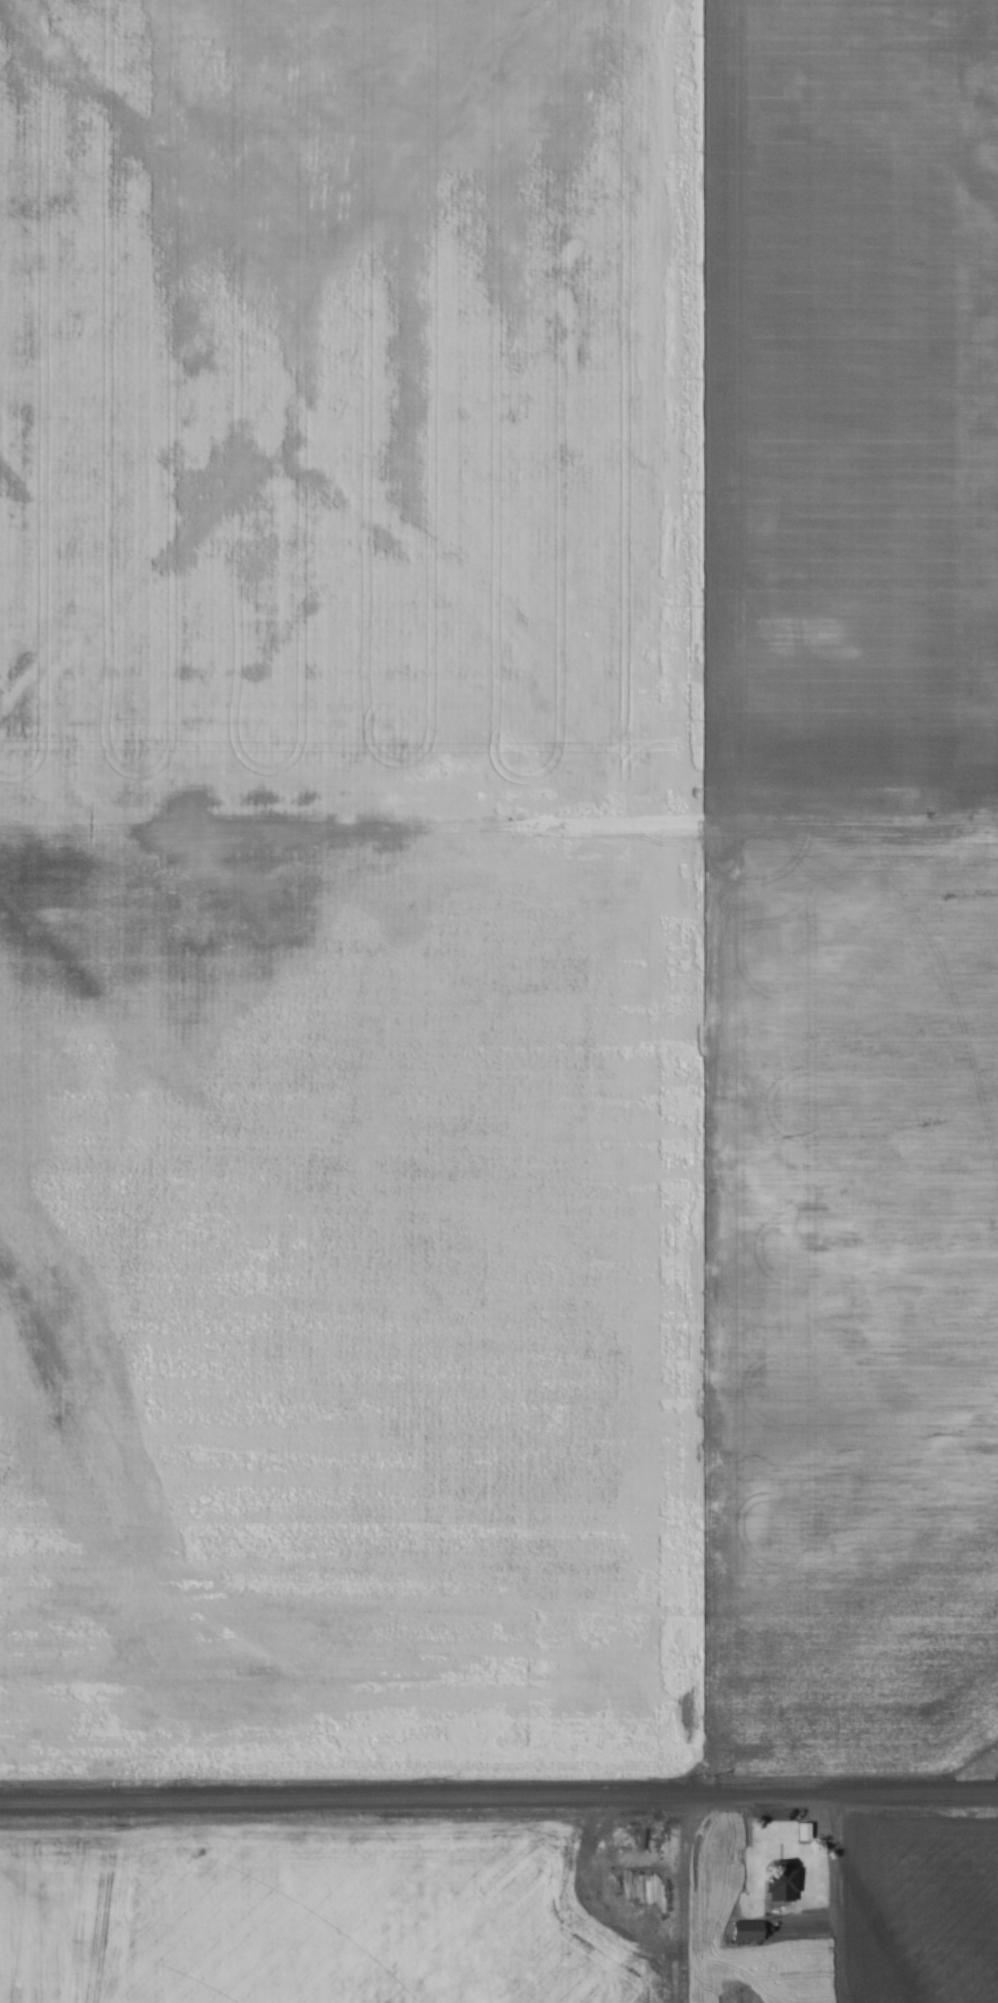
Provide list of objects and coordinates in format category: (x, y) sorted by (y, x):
road: (499, 1810)
building: (780, 1879)
building: (745, 1928)

